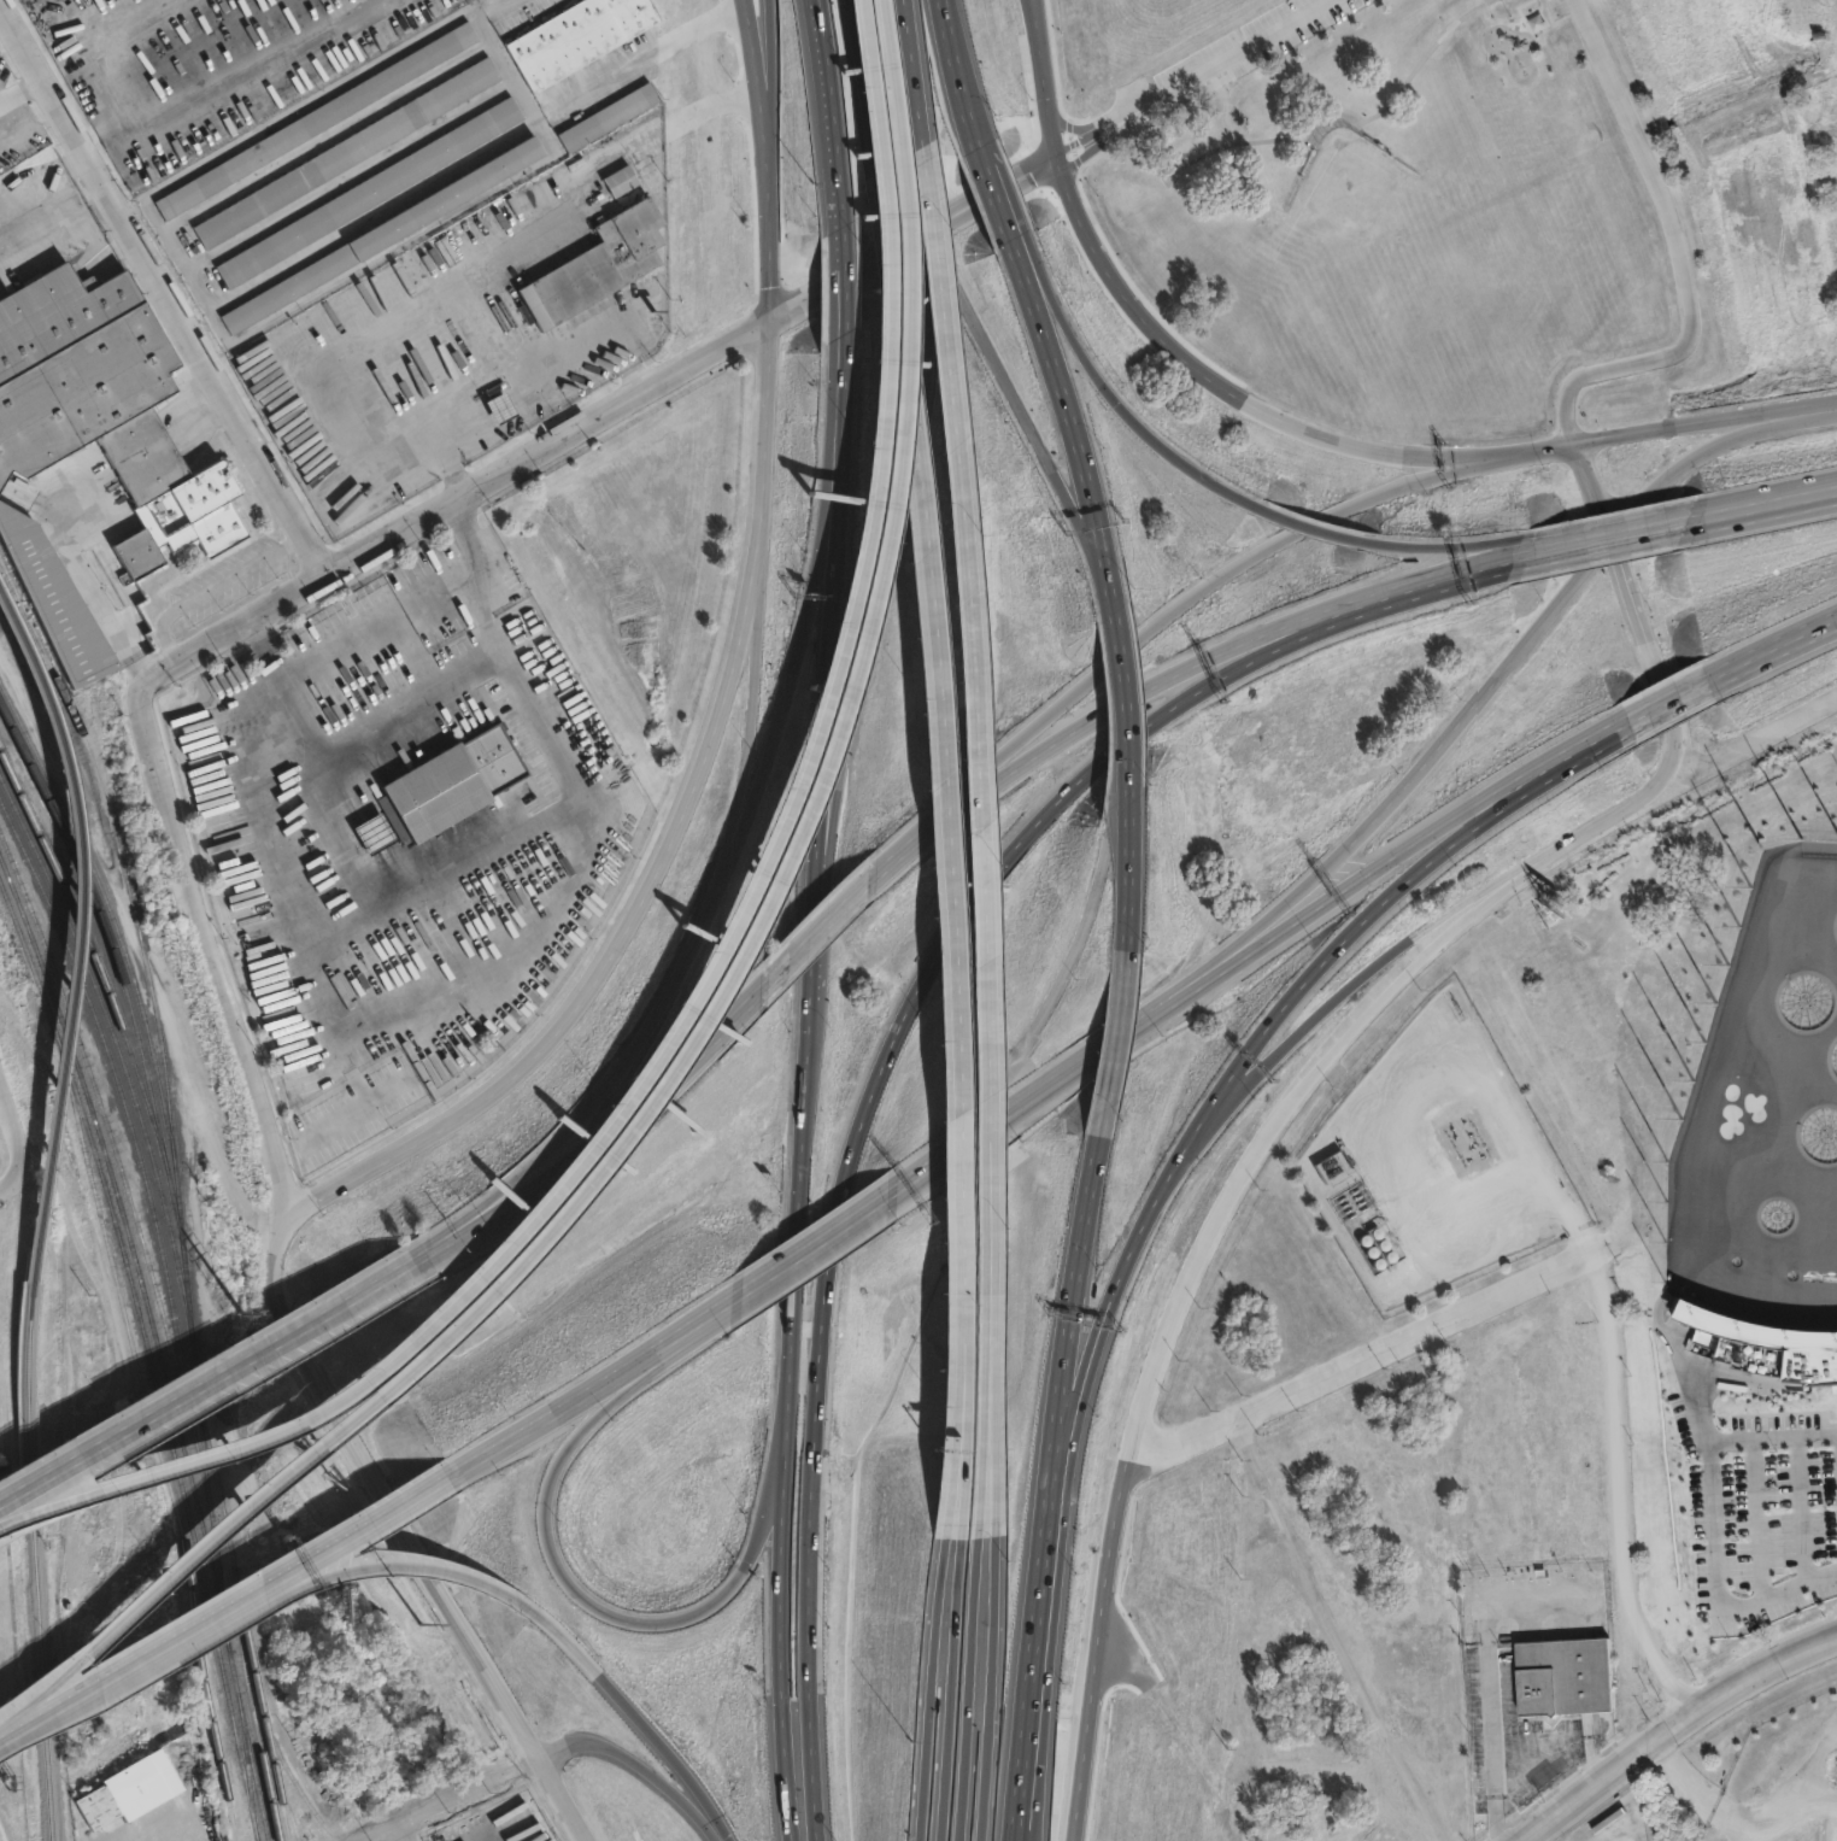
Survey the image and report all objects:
parking lot: (1555, 7)
road: (1039, 25)
road: (1041, 25)
building: (582, 33)
road: (133, 47)
parking lot: (1245, 47)
road: (656, 52)
road: (885, 71)
road: (962, 71)
road: (905, 72)
road: (233, 76)
road: (915, 77)
road: (1185, 77)
road: (862, 86)
road: (20, 88)
building: (640, 98)
road: (769, 104)
road: (1051, 104)
road: (1225, 104)
road: (1381, 107)
road: (835, 109)
building: (322, 117)
building: (342, 154)
road: (985, 154)
building: (372, 192)
road: (981, 199)
road: (1000, 201)
park: (1402, 222)
building: (388, 233)
building: (605, 256)
road: (1677, 257)
road: (845, 277)
road: (164, 286)
road: (837, 286)
road: (386, 324)
road: (1181, 350)
road: (547, 357)
road: (1108, 391)
road: (1061, 392)
road: (1014, 393)
building: (501, 406)
road: (843, 420)
road: (1704, 421)
road: (1735, 436)
road: (1520, 451)
road: (1431, 452)
building: (149, 469)
road: (1590, 489)
road: (452, 500)
road: (1761, 509)
road: (1626, 514)
road: (1668, 526)
road: (1594, 533)
road: (1339, 534)
road: (1590, 540)
road: (1485, 544)
road: (1462, 573)
road: (1109, 574)
road: (212, 586)
road: (1556, 599)
road: (1630, 599)
road: (1174, 602)
road: (869, 623)
road: (1267, 631)
road: (1773, 647)
road: (1270, 651)
road: (1121, 682)
road: (752, 685)
road: (792, 687)
road: (722, 692)
road: (1125, 694)
road: (411, 703)
road: (1667, 707)
road: (295, 709)
road: (1128, 739)
road: (1729, 750)
road: (821, 756)
road: (1426, 757)
road: (1017, 764)
building: (452, 786)
road: (358, 807)
road: (352, 811)
road: (1600, 821)
road: (323, 826)
road: (378, 829)
building: (376, 833)
road: (780, 837)
road: (364, 839)
road: (800, 839)
road: (978, 839)
road: (943, 846)
road: (1399, 849)
road: (899, 852)
road: (391, 857)
road: (393, 870)
road: (439, 876)
road: (1128, 879)
road: (1391, 893)
railway: (92, 914)
road: (1264, 917)
road: (817, 928)
road: (217, 948)
road: (516, 950)
railway: (100, 960)
railway: (72, 1003)
railway: (153, 1008)
road: (1327, 1019)
road: (717, 1026)
railway: (105, 1028)
road: (1108, 1051)
railway: (110, 1073)
road: (608, 1080)
road: (802, 1090)
road: (1039, 1092)
railway: (107, 1098)
power tower: (74, 1143)
road: (11, 1145)
road: (556, 1174)
road: (11, 1184)
railway: (135, 1226)
building: (13, 1230)
road: (820, 1242)
road: (831, 1260)
power tower: (227, 1265)
road: (794, 1289)
railway: (157, 1342)
road: (1107, 1343)
road: (1160, 1343)
building: (1763, 1347)
road: (1367, 1350)
road: (1067, 1354)
railway: (148, 1355)
road: (216, 1378)
road: (606, 1382)
park: (1530, 1384)
road: (175, 1458)
road: (381, 1485)
parking lot: (1757, 1512)
road: (387, 1522)
road: (1713, 1522)
road: (424, 1560)
road: (183, 1564)
road: (559, 1569)
railway: (242, 1620)
road: (782, 1624)
railway: (37, 1634)
road: (181, 1643)
building: (1566, 1677)
road: (927, 1682)
road: (952, 1682)
road: (969, 1682)
road: (987, 1683)
road: (1489, 1685)
road: (642, 1711)
road: (1039, 1717)
railway: (252, 1719)
road: (1678, 1730)
road: (25, 1734)
road: (644, 1761)
railway: (246, 1766)
railway: (294, 1782)
building: (129, 1790)
road: (562, 1795)
road: (448, 1799)
railway: (286, 1806)
building: (41, 1831)

